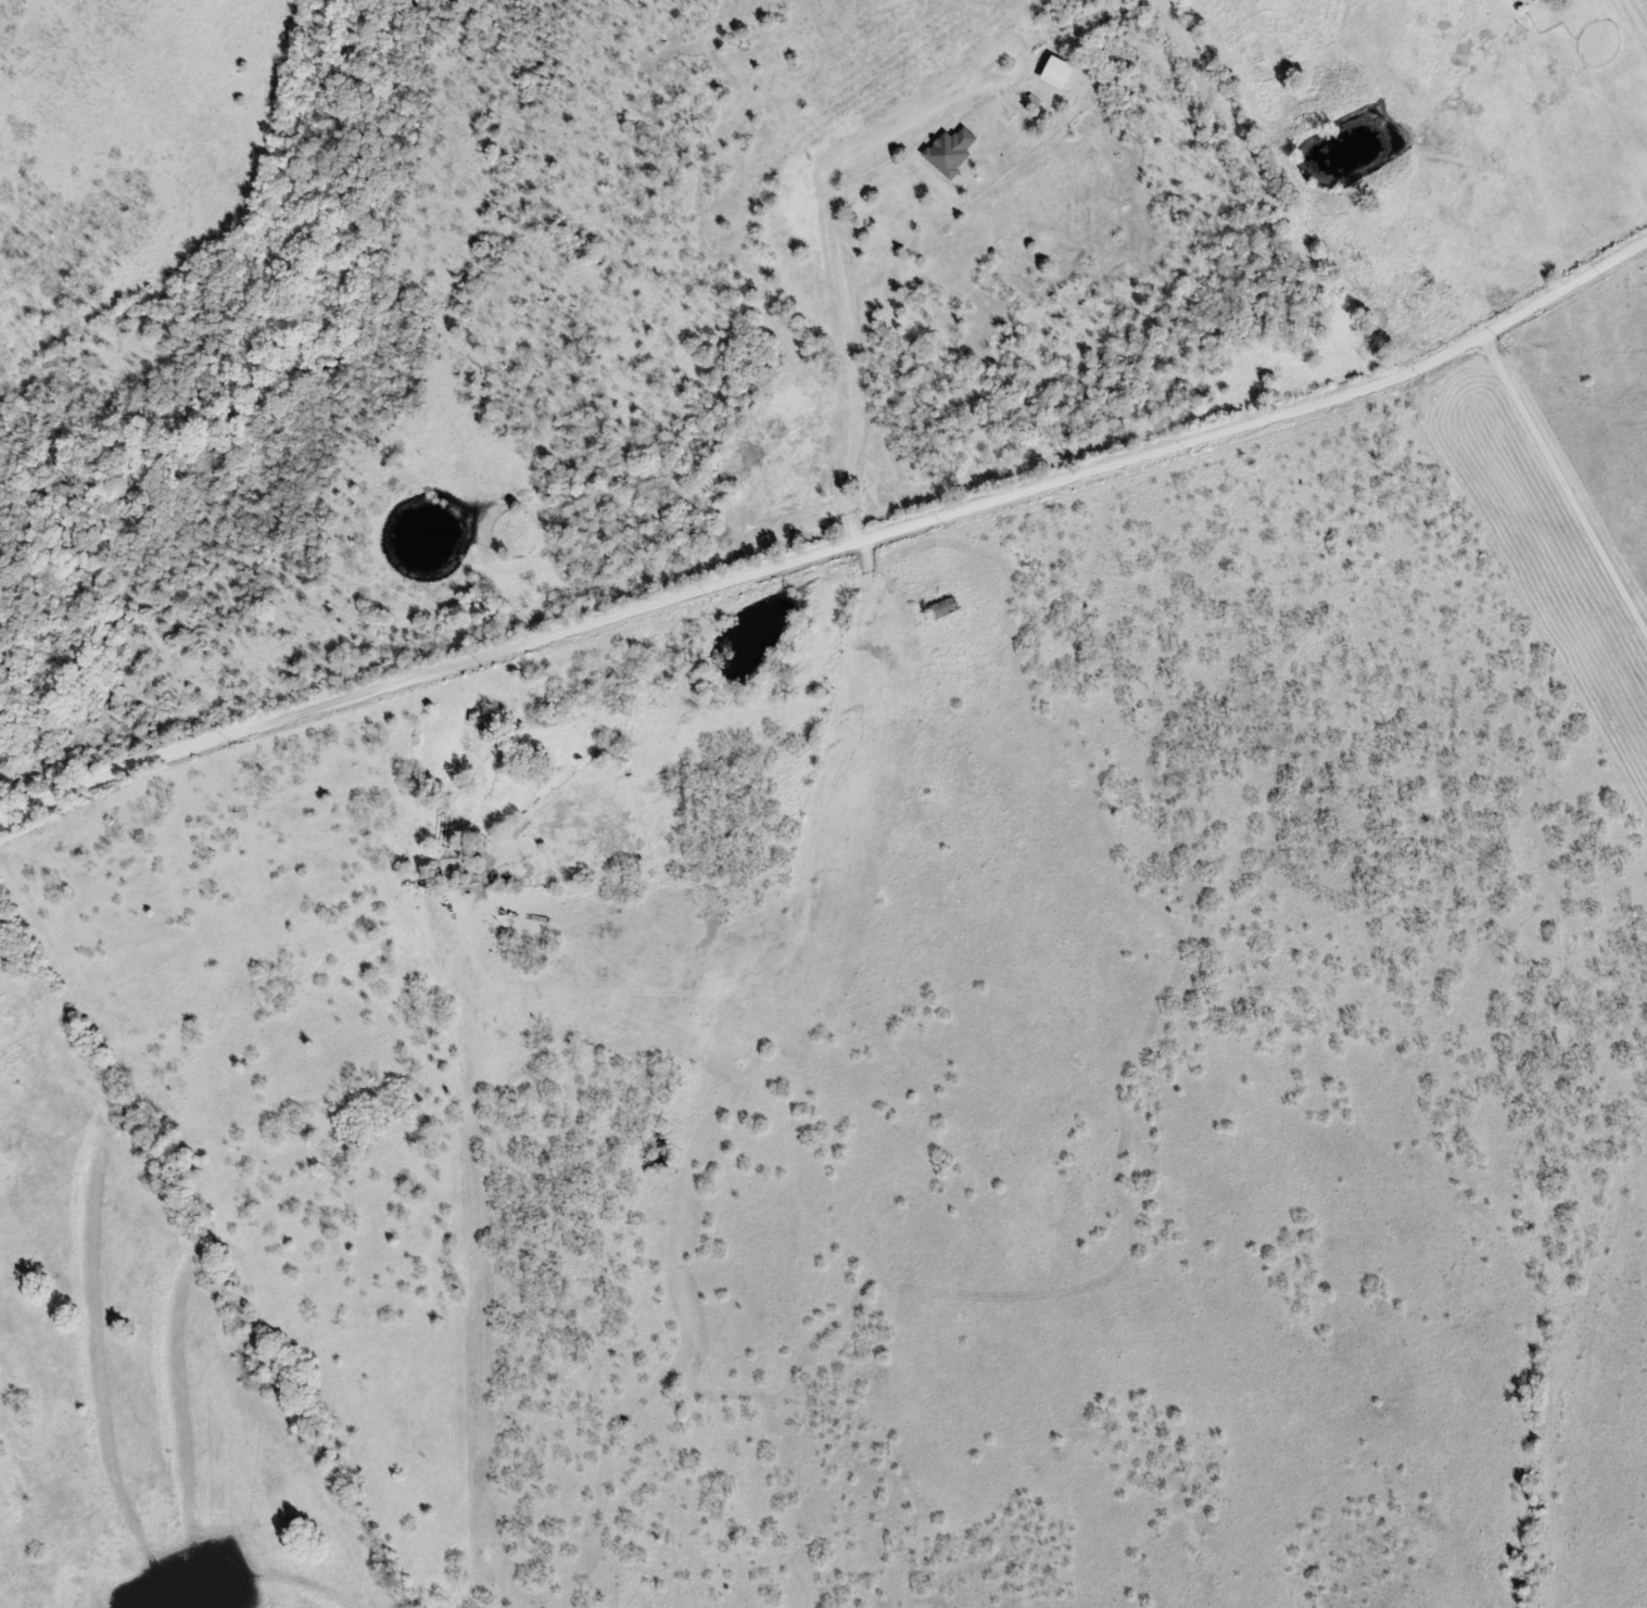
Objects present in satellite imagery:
building: (1063, 75)
building: (954, 153)
road: (1282, 187)
road: (831, 553)

